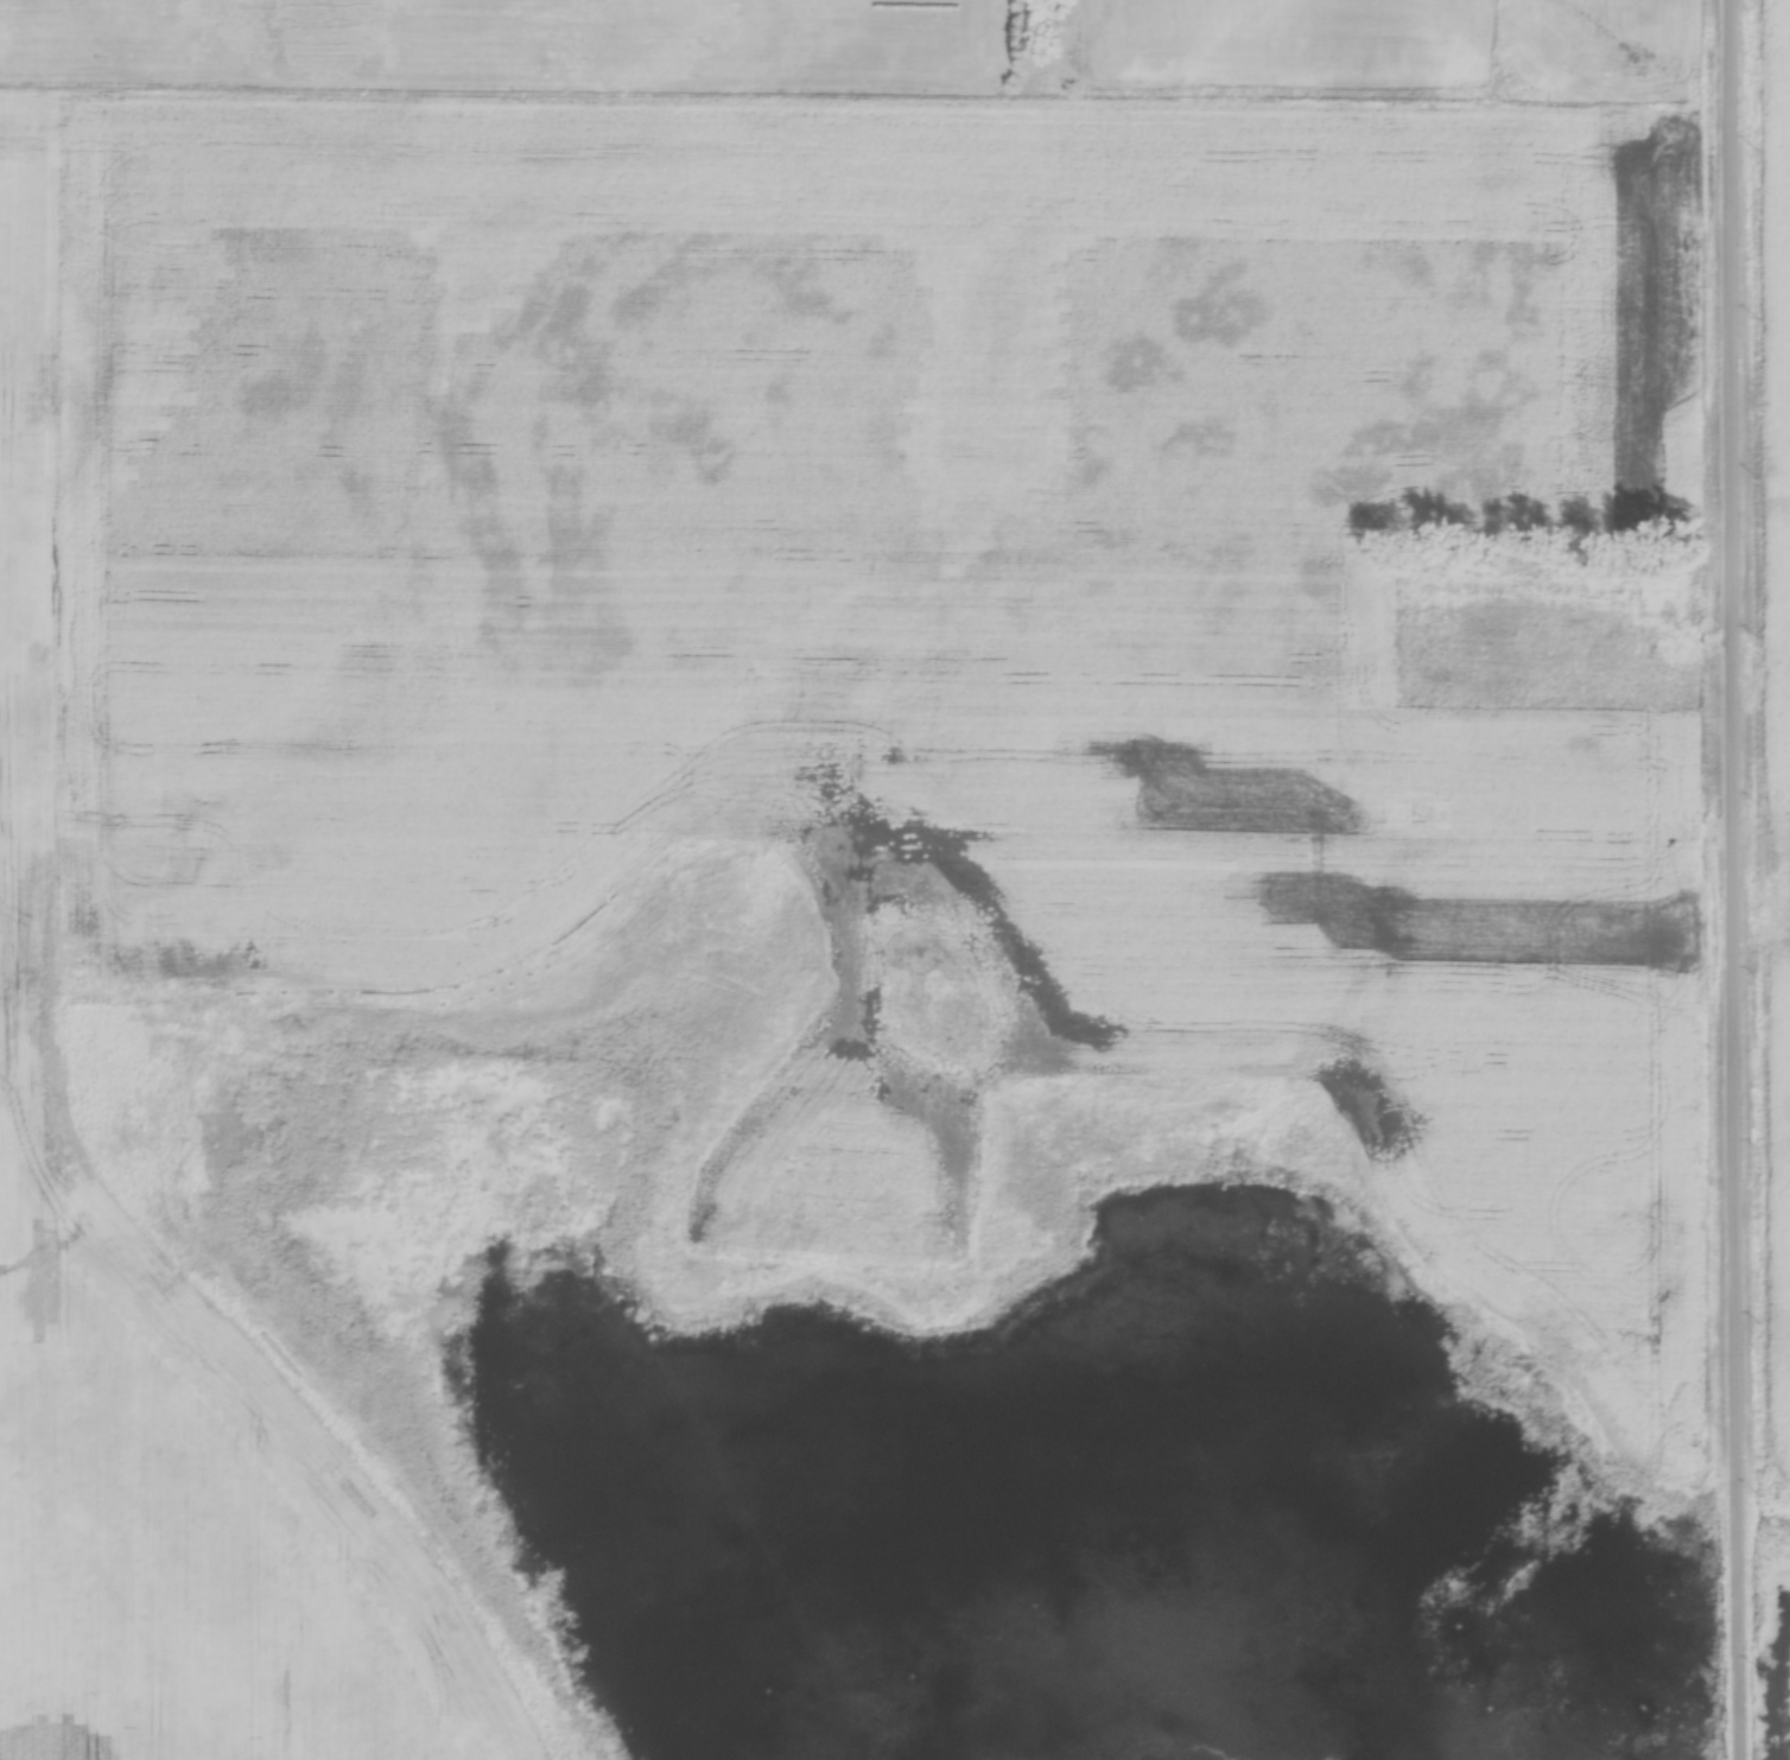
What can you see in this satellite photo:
road: (1737, 879)

